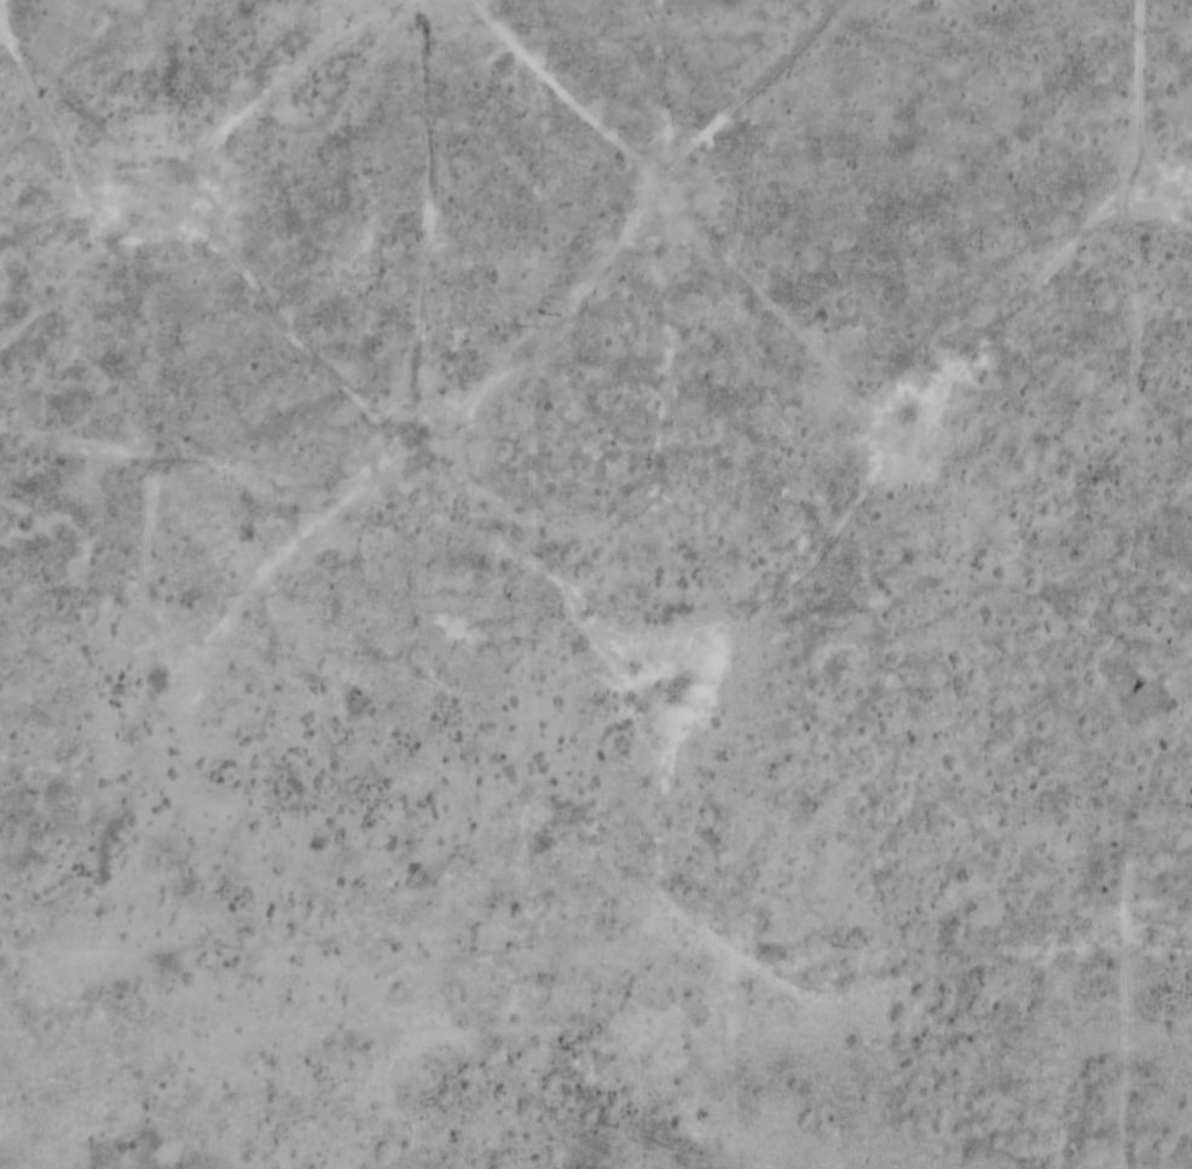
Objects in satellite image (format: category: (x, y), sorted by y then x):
road: (1042, 18)
road: (199, 154)
road: (613, 239)
road: (821, 374)
road: (117, 389)
road: (62, 444)
road: (1116, 584)
road: (608, 642)

